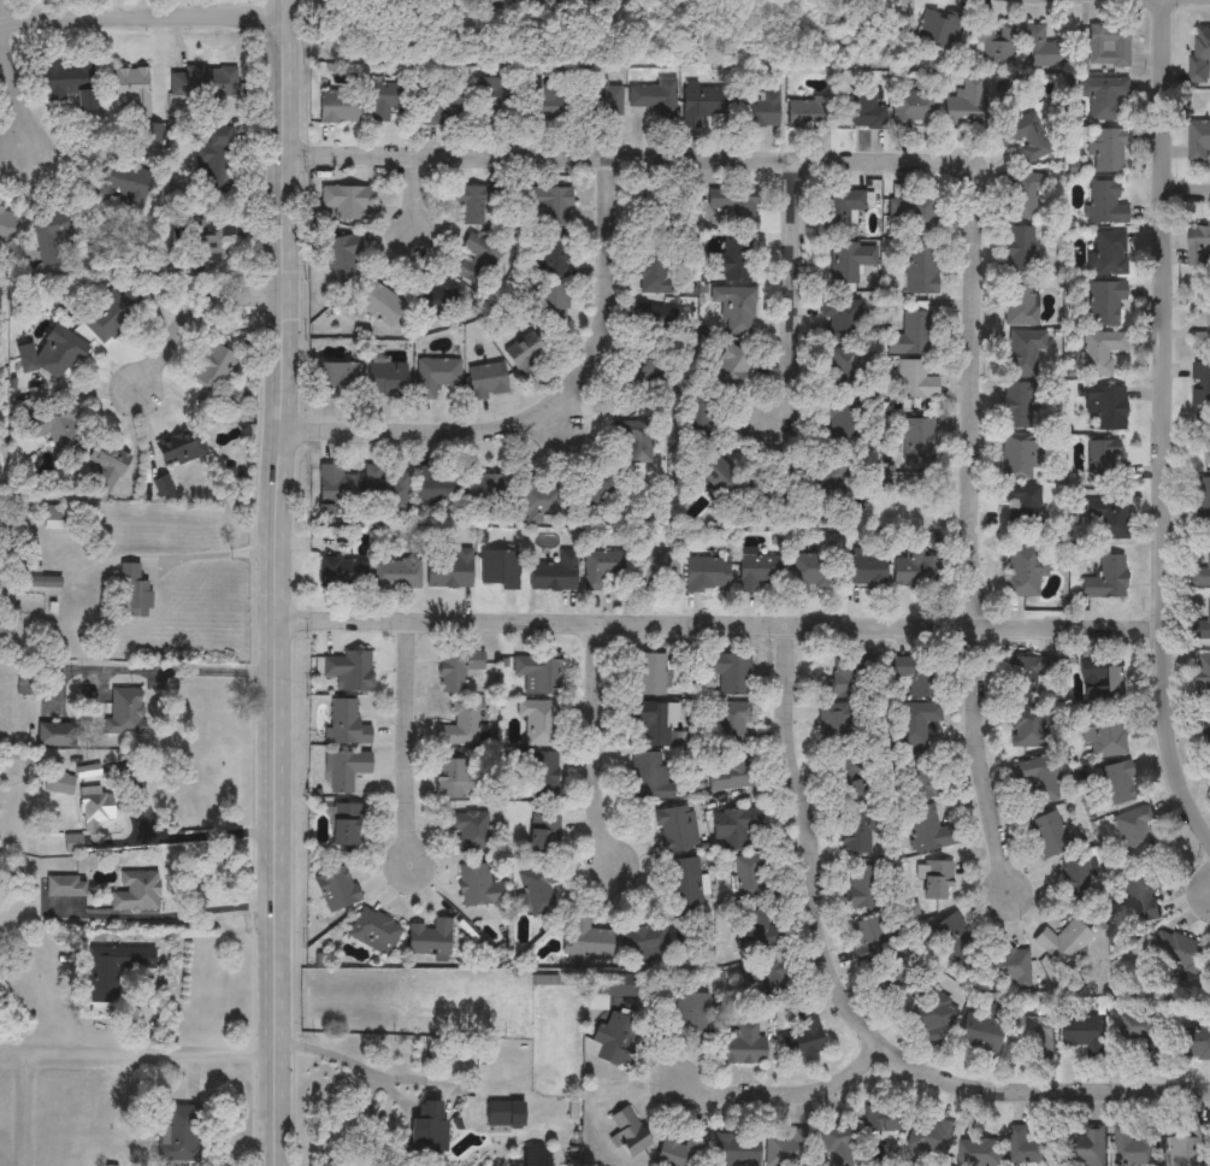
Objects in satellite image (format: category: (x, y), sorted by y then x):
building: (483, 4)
road: (144, 18)
building: (935, 29)
building: (993, 45)
building: (1047, 46)
building: (1108, 47)
building: (1199, 55)
road: (11, 69)
building: (203, 82)
building: (69, 83)
building: (129, 92)
building: (1102, 96)
building: (491, 98)
building: (391, 100)
building: (603, 101)
building: (656, 101)
building: (545, 105)
building: (966, 105)
building: (442, 106)
building: (702, 106)
building: (338, 107)
building: (915, 108)
building: (759, 111)
building: (860, 112)
building: (810, 113)
building: (1026, 137)
building: (1199, 141)
building: (1108, 152)
building: (216, 160)
road: (626, 160)
building: (119, 185)
road: (415, 188)
building: (1026, 198)
road: (1187, 199)
building: (347, 202)
building: (1105, 204)
building: (667, 205)
building: (472, 206)
building: (550, 206)
building: (736, 208)
building: (842, 211)
building: (913, 214)
building: (6, 228)
building: (55, 235)
building: (211, 242)
building: (1199, 247)
building: (1021, 251)
building: (554, 255)
building: (1110, 255)
building: (343, 258)
building: (477, 260)
building: (731, 263)
building: (850, 263)
building: (921, 271)
building: (654, 272)
road: (795, 291)
building: (437, 299)
building: (1020, 302)
building: (1104, 304)
road: (197, 305)
building: (555, 306)
building: (379, 307)
building: (736, 310)
building: (110, 316)
building: (840, 322)
building: (911, 335)
building: (1202, 337)
building: (1102, 353)
building: (645, 354)
building: (1023, 354)
building: (55, 357)
building: (526, 358)
building: (213, 369)
building: (731, 370)
building: (843, 371)
building: (435, 376)
building: (335, 379)
building: (385, 381)
building: (486, 381)
building: (915, 382)
building: (1200, 384)
building: (231, 401)
building: (1019, 407)
building: (1106, 408)
building: (697, 418)
building: (842, 419)
road: (556, 425)
road: (1161, 425)
building: (58, 429)
building: (1203, 437)
building: (917, 441)
building: (637, 444)
building: (178, 449)
building: (1020, 459)
building: (1106, 465)
building: (105, 466)
building: (715, 476)
building: (826, 477)
building: (336, 485)
building: (384, 487)
building: (437, 487)
building: (161, 488)
building: (596, 488)
building: (488, 490)
building: (541, 501)
building: (929, 501)
building: (1203, 502)
building: (1020, 508)
building: (57, 518)
building: (1108, 519)
road: (973, 526)
road: (224, 556)
building: (600, 567)
building: (498, 570)
building: (757, 570)
building: (864, 570)
building: (450, 571)
building: (1026, 571)
building: (915, 572)
building: (342, 573)
building: (553, 573)
building: (660, 573)
building: (809, 573)
building: (397, 575)
building: (1202, 575)
building: (707, 576)
building: (1108, 581)
road: (281, 582)
building: (43, 583)
building: (132, 591)
road: (721, 624)
building: (1204, 628)
building: (1204, 669)
road: (167, 671)
building: (458, 671)
building: (349, 672)
building: (730, 673)
building: (538, 675)
building: (649, 676)
building: (846, 677)
building: (1028, 677)
building: (921, 681)
building: (1104, 708)
building: (123, 712)
building: (538, 723)
building: (915, 723)
building: (346, 724)
building: (651, 724)
building: (734, 725)
building: (460, 726)
building: (839, 726)
building: (1208, 728)
building: (1027, 731)
building: (55, 737)
road: (600, 746)
road: (407, 752)
building: (346, 771)
building: (731, 773)
building: (541, 776)
building: (650, 778)
building: (919, 778)
building: (455, 781)
building: (1039, 781)
building: (848, 782)
building: (57, 785)
building: (1117, 785)
building: (90, 809)
building: (344, 828)
building: (733, 828)
building: (929, 830)
building: (674, 831)
building: (470, 832)
building: (1135, 832)
building: (857, 834)
building: (544, 836)
road: (187, 837)
building: (1050, 837)
building: (750, 877)
building: (938, 882)
building: (1075, 884)
building: (685, 887)
building: (65, 888)
building: (479, 888)
building: (862, 888)
building: (336, 890)
building: (539, 891)
building: (135, 893)
building: (1138, 901)
road: (165, 915)
building: (374, 932)
building: (761, 932)
building: (868, 937)
building: (430, 938)
building: (588, 940)
building: (952, 940)
building: (643, 942)
building: (1062, 942)
building: (1179, 953)
building: (1013, 968)
building: (113, 971)
building: (773, 976)
building: (895, 984)
road: (848, 1011)
building: (932, 1015)
building: (691, 1017)
building: (982, 1032)
building: (1082, 1033)
building: (1031, 1035)
building: (802, 1038)
building: (1133, 1038)
building: (613, 1040)
building: (1192, 1043)
building: (743, 1044)
road: (166, 1056)
road: (353, 1064)
road: (779, 1095)
building: (504, 1115)
building: (885, 1120)
building: (426, 1132)
building: (182, 1135)
building: (628, 1135)
building: (932, 1139)
building: (840, 1141)
building: (1031, 1147)
building: (1135, 1148)
building: (1190, 1148)
building: (786, 1149)
building: (1084, 1149)
building: (736, 1150)
building: (681, 1153)
building: (982, 1154)
building: (531, 1156)

